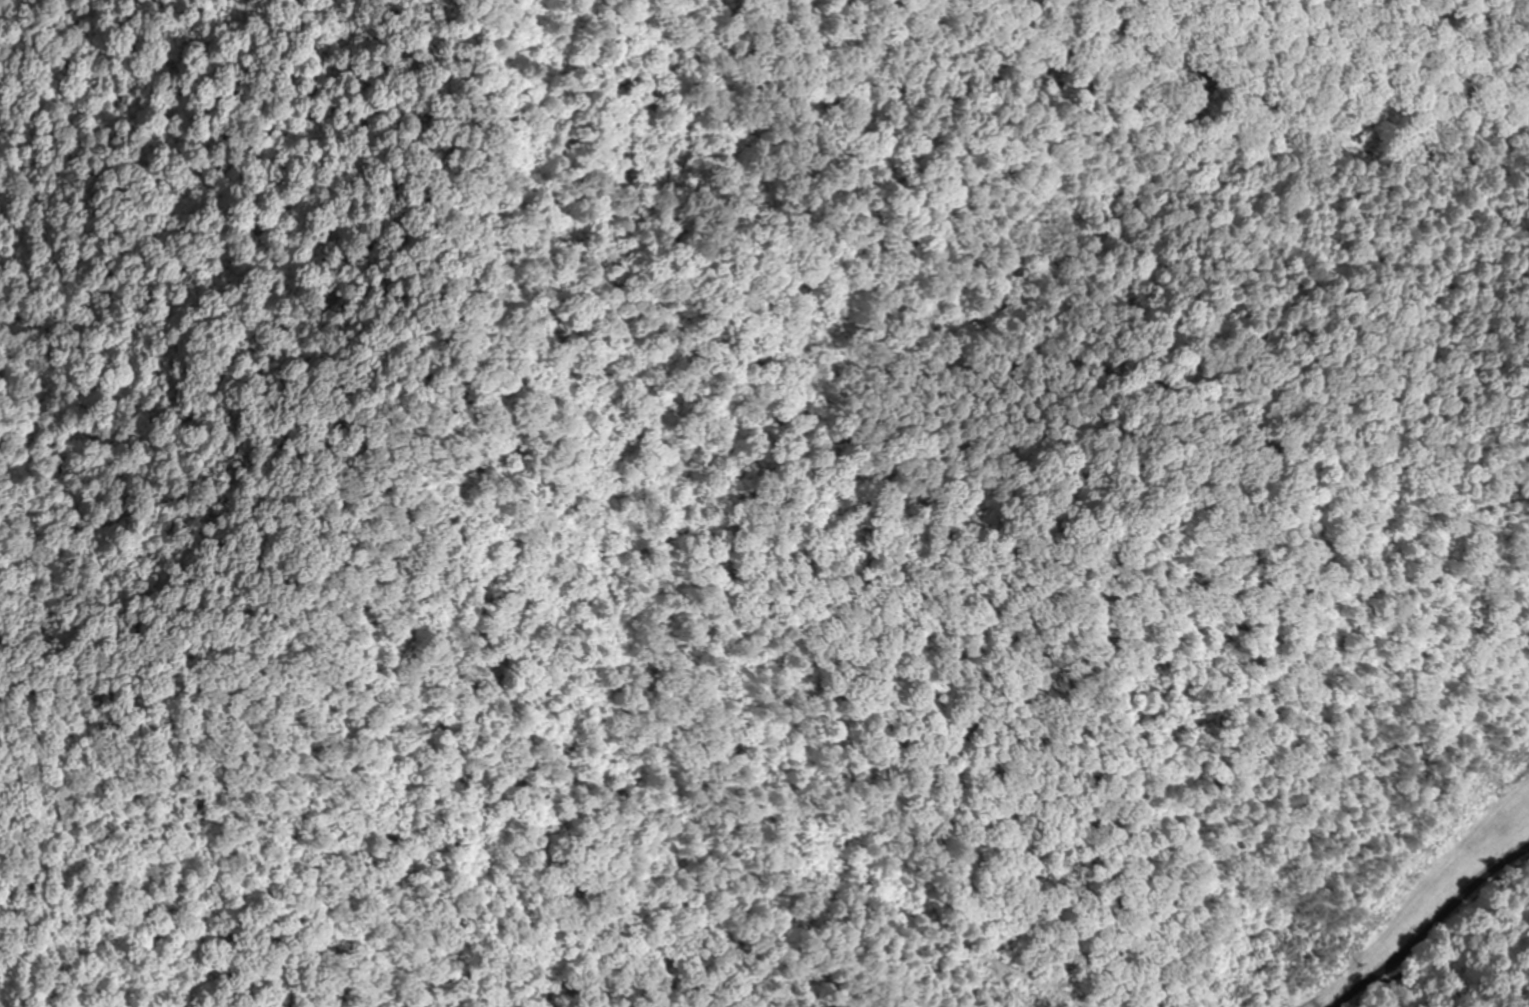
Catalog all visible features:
road: (1432, 927)

